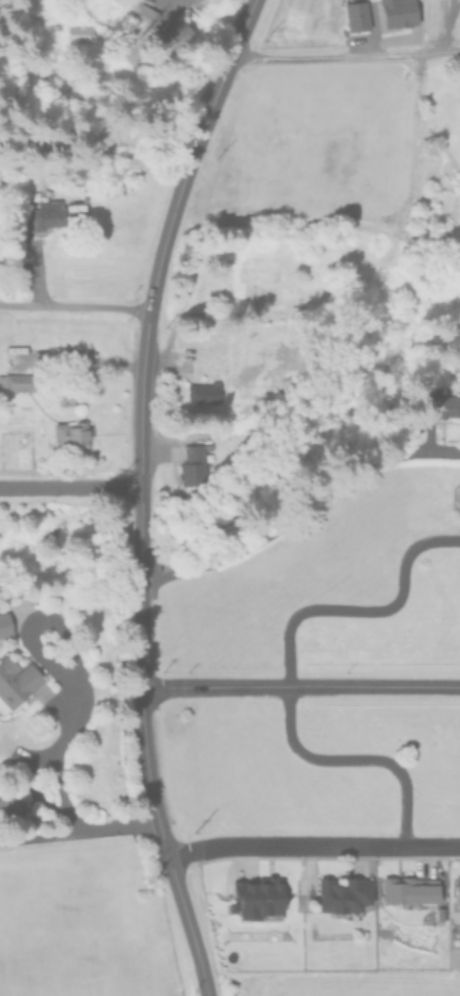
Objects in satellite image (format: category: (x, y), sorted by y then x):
building: (143, 13)
road: (439, 25)
road: (448, 26)
building: (177, 32)
building: (78, 33)
road: (448, 51)
road: (334, 57)
building: (46, 215)
building: (235, 282)
road: (73, 307)
building: (13, 352)
building: (16, 381)
building: (206, 393)
building: (440, 403)
building: (72, 433)
building: (193, 467)
road: (70, 485)
road: (140, 492)
road: (300, 510)
building: (13, 521)
building: (4, 623)
road: (287, 668)
park: (319, 672)
building: (15, 682)
road: (299, 687)
road: (56, 749)
road: (27, 765)
building: (9, 803)
road: (78, 829)
road: (312, 843)
building: (408, 890)
building: (457, 891)
building: (344, 894)
building: (258, 895)

